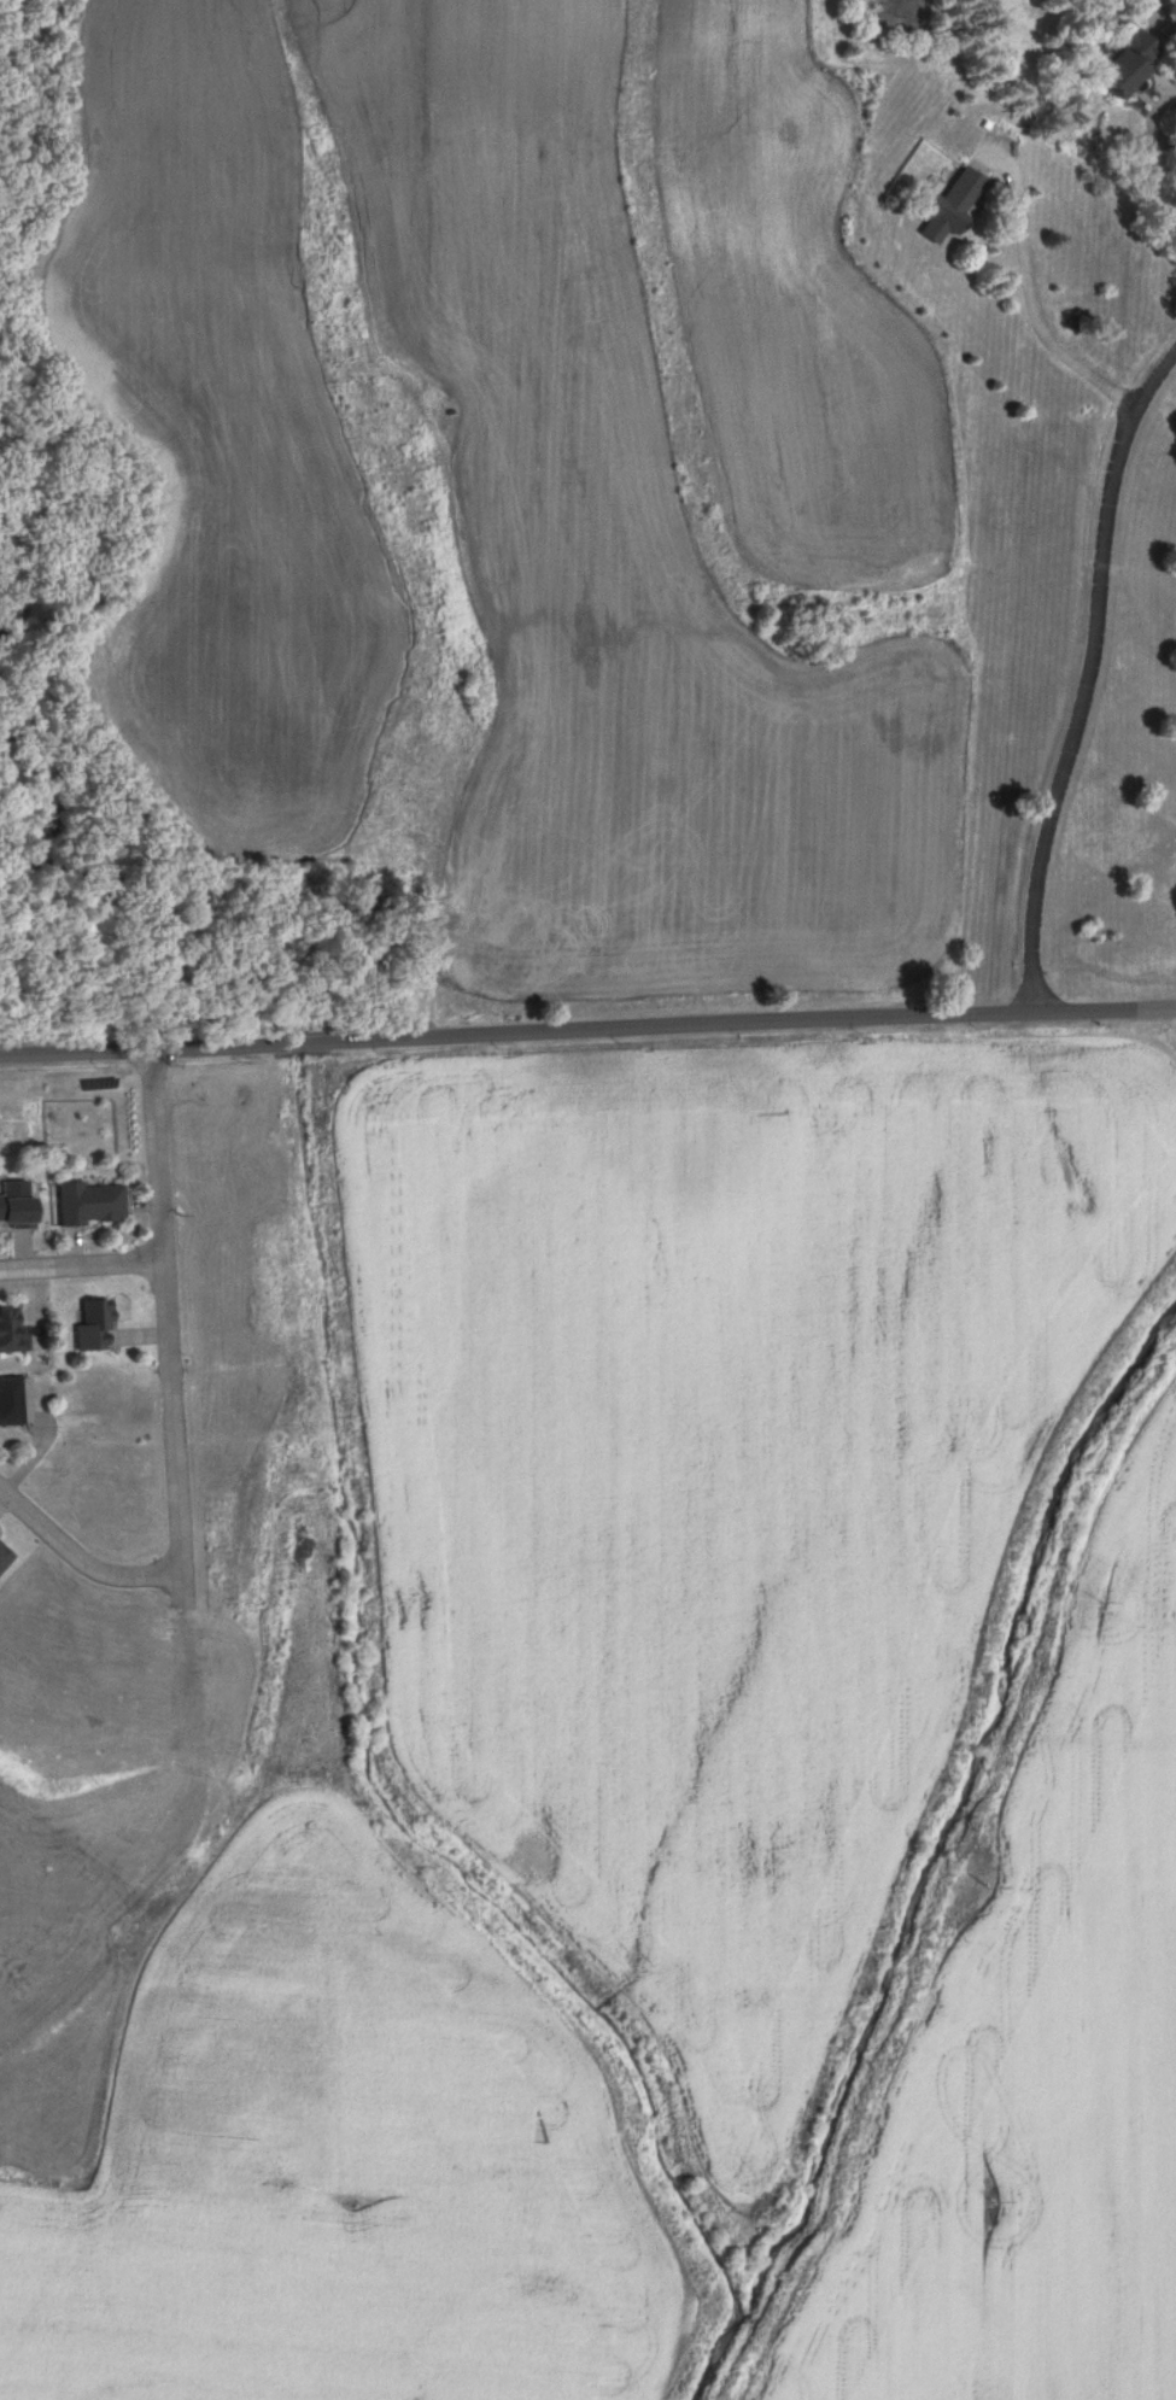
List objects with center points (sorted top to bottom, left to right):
crop: (729, 34)
crop: (316, 57)
building: (1121, 65)
building: (948, 207)
crop: (802, 334)
crop: (215, 510)
road: (1089, 677)
road: (587, 1031)
building: (14, 1204)
building: (84, 1204)
road: (83, 1268)
building: (90, 1325)
building: (8, 1330)
road: (169, 1334)
building: (7, 1401)
crop: (724, 1485)
building: (2, 1557)
road: (81, 1557)
crop: (1031, 2030)
crop: (346, 2135)

